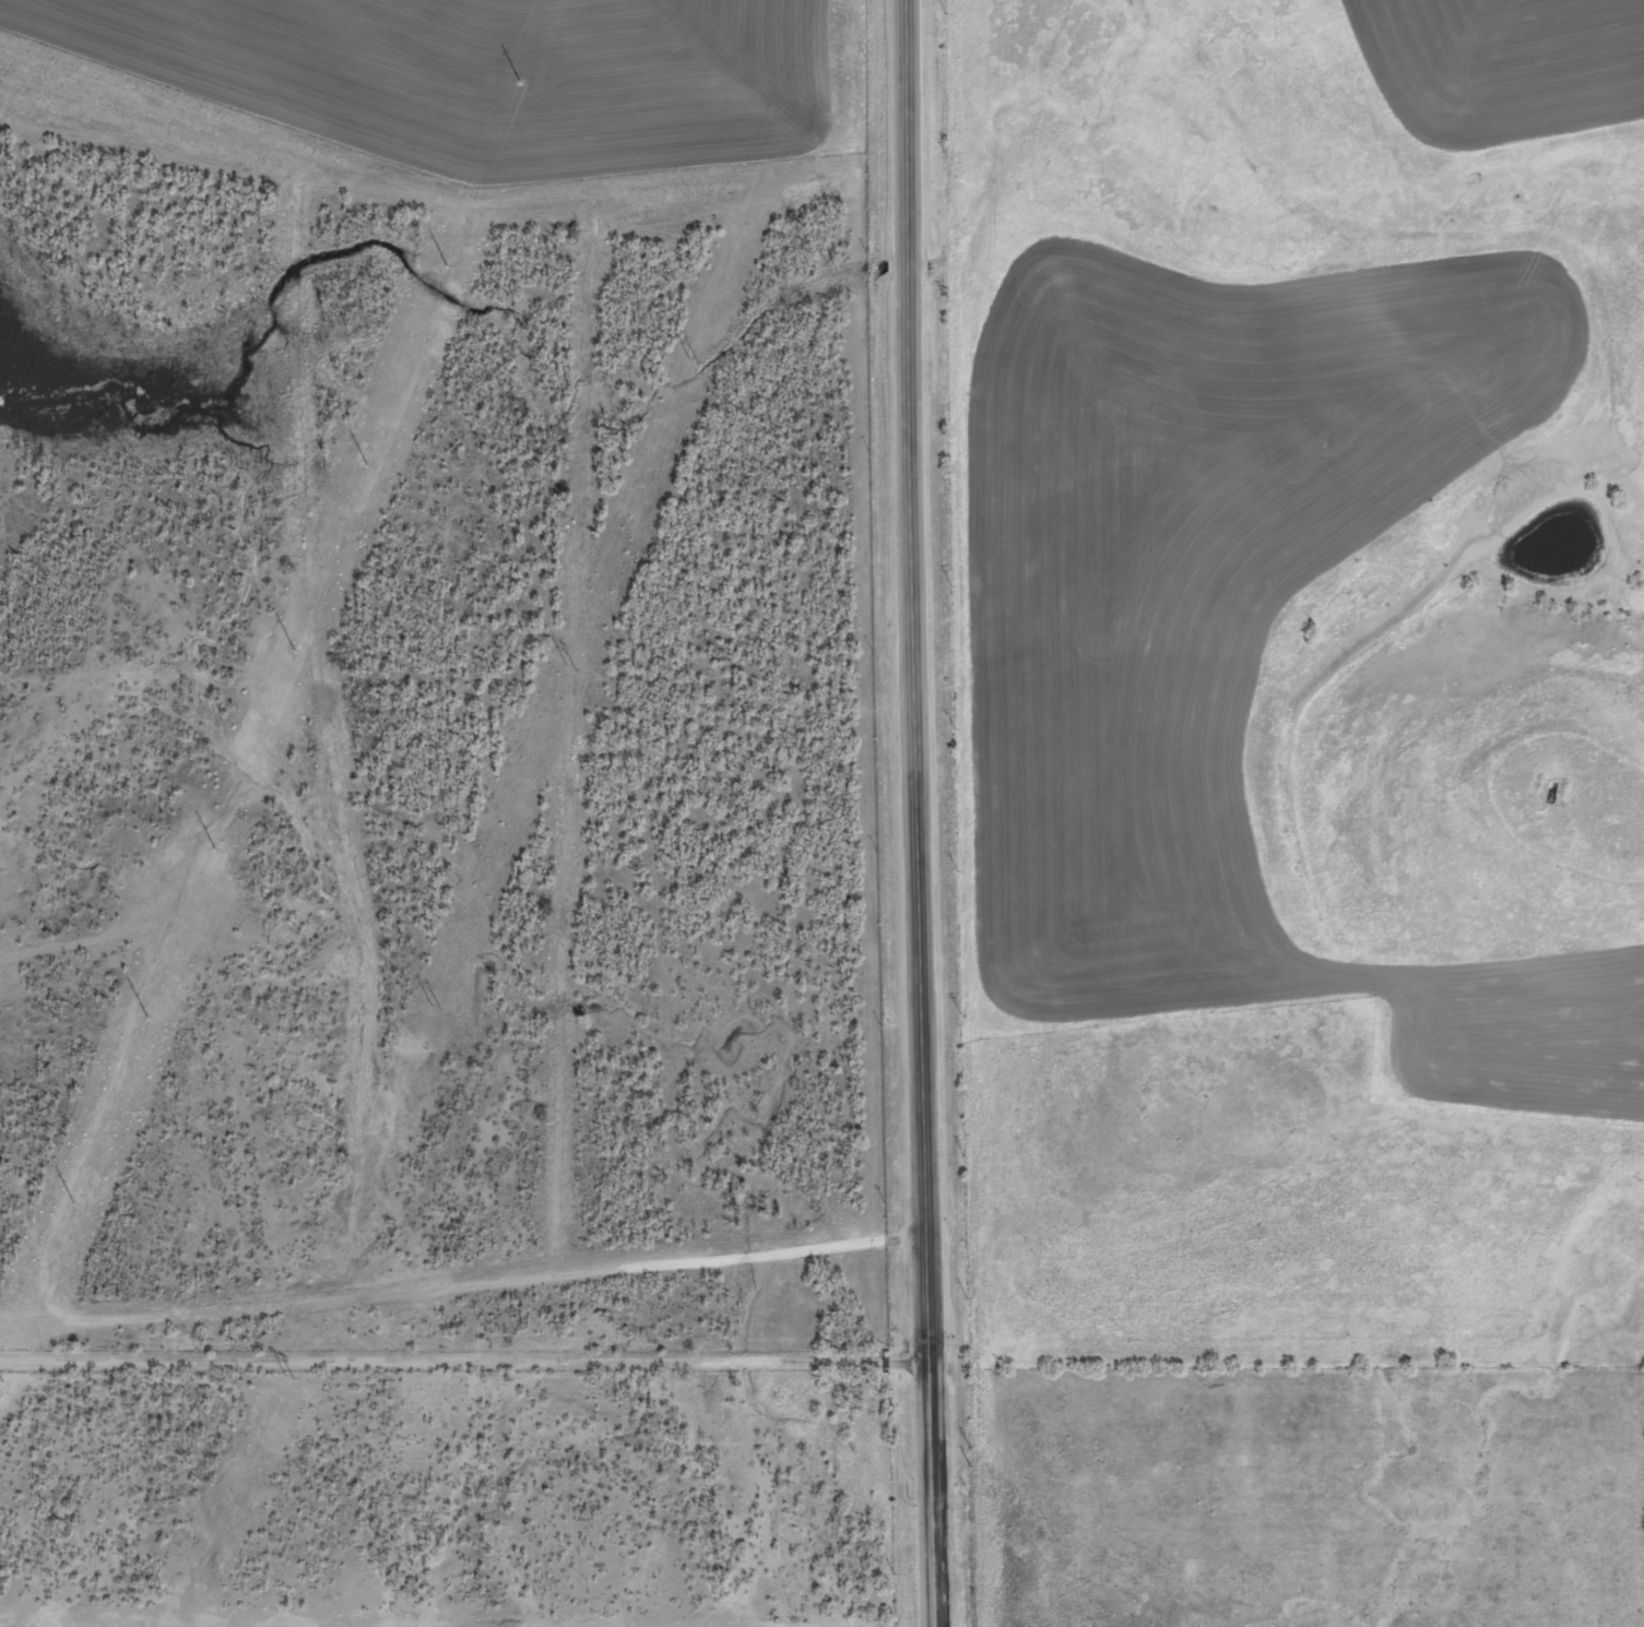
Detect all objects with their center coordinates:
power tower: (690, 360)
power tower: (569, 668)
road: (915, 813)
power tower: (434, 1009)
road: (463, 1364)
power tower: (287, 1378)

